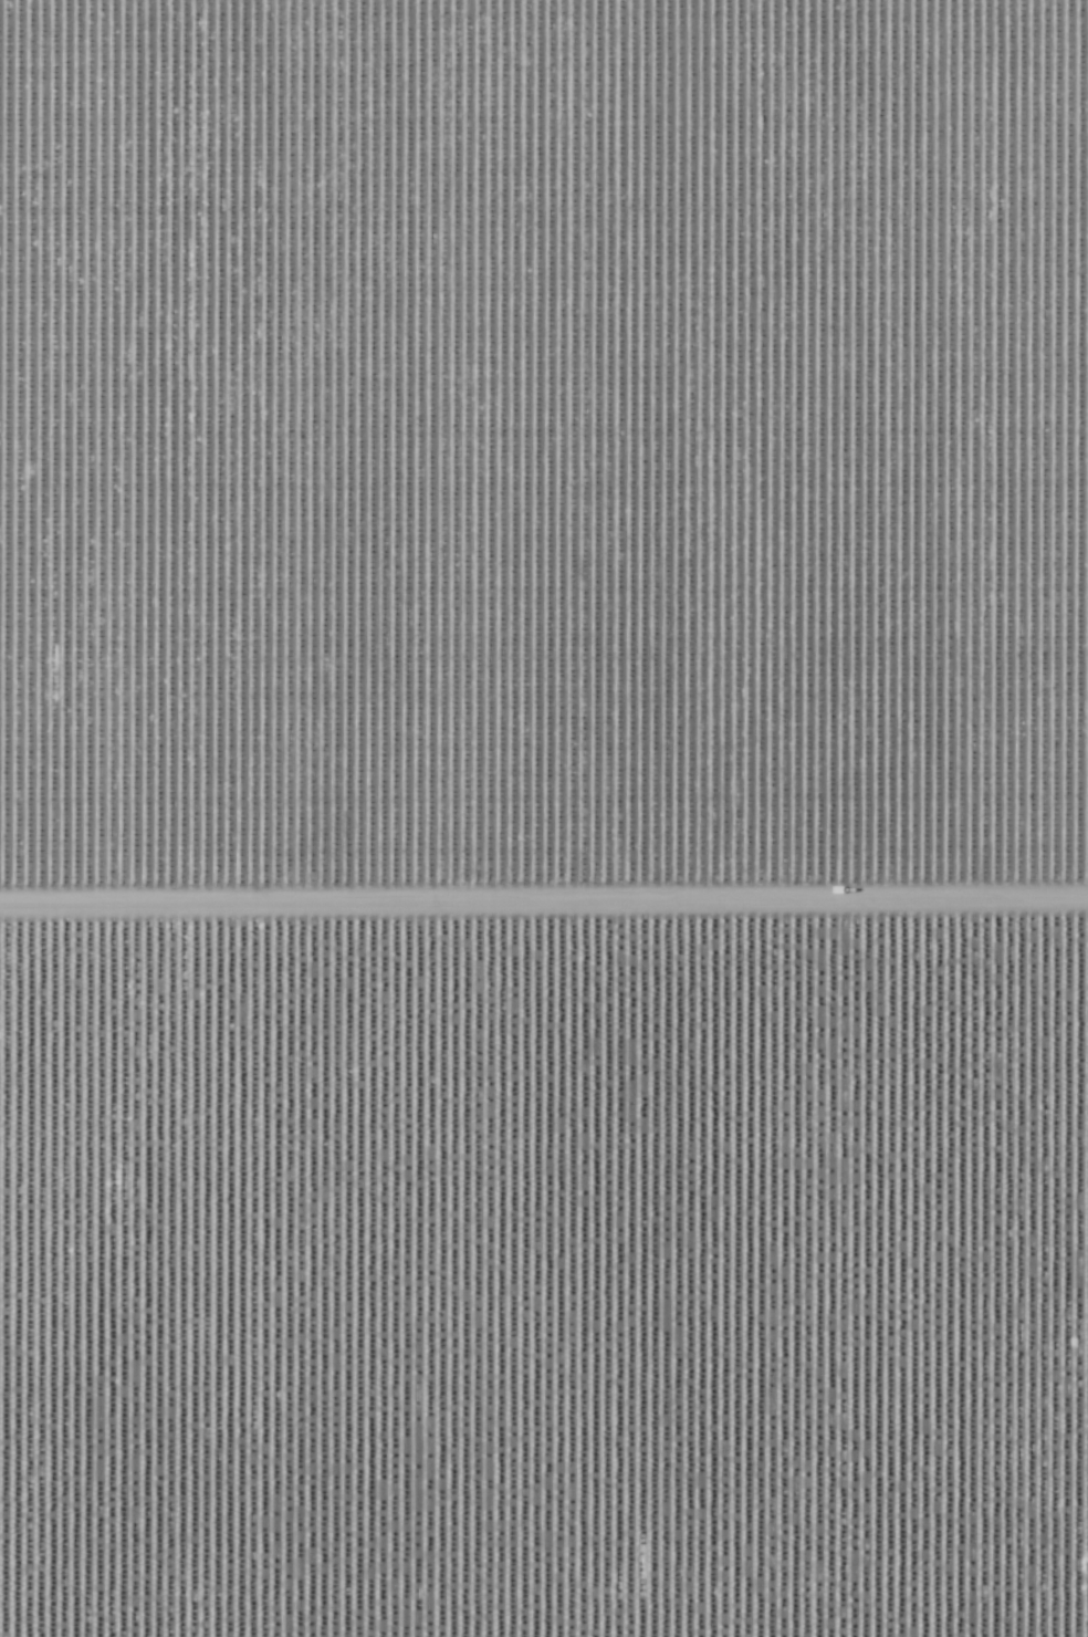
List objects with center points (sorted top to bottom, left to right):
road: (544, 889)

